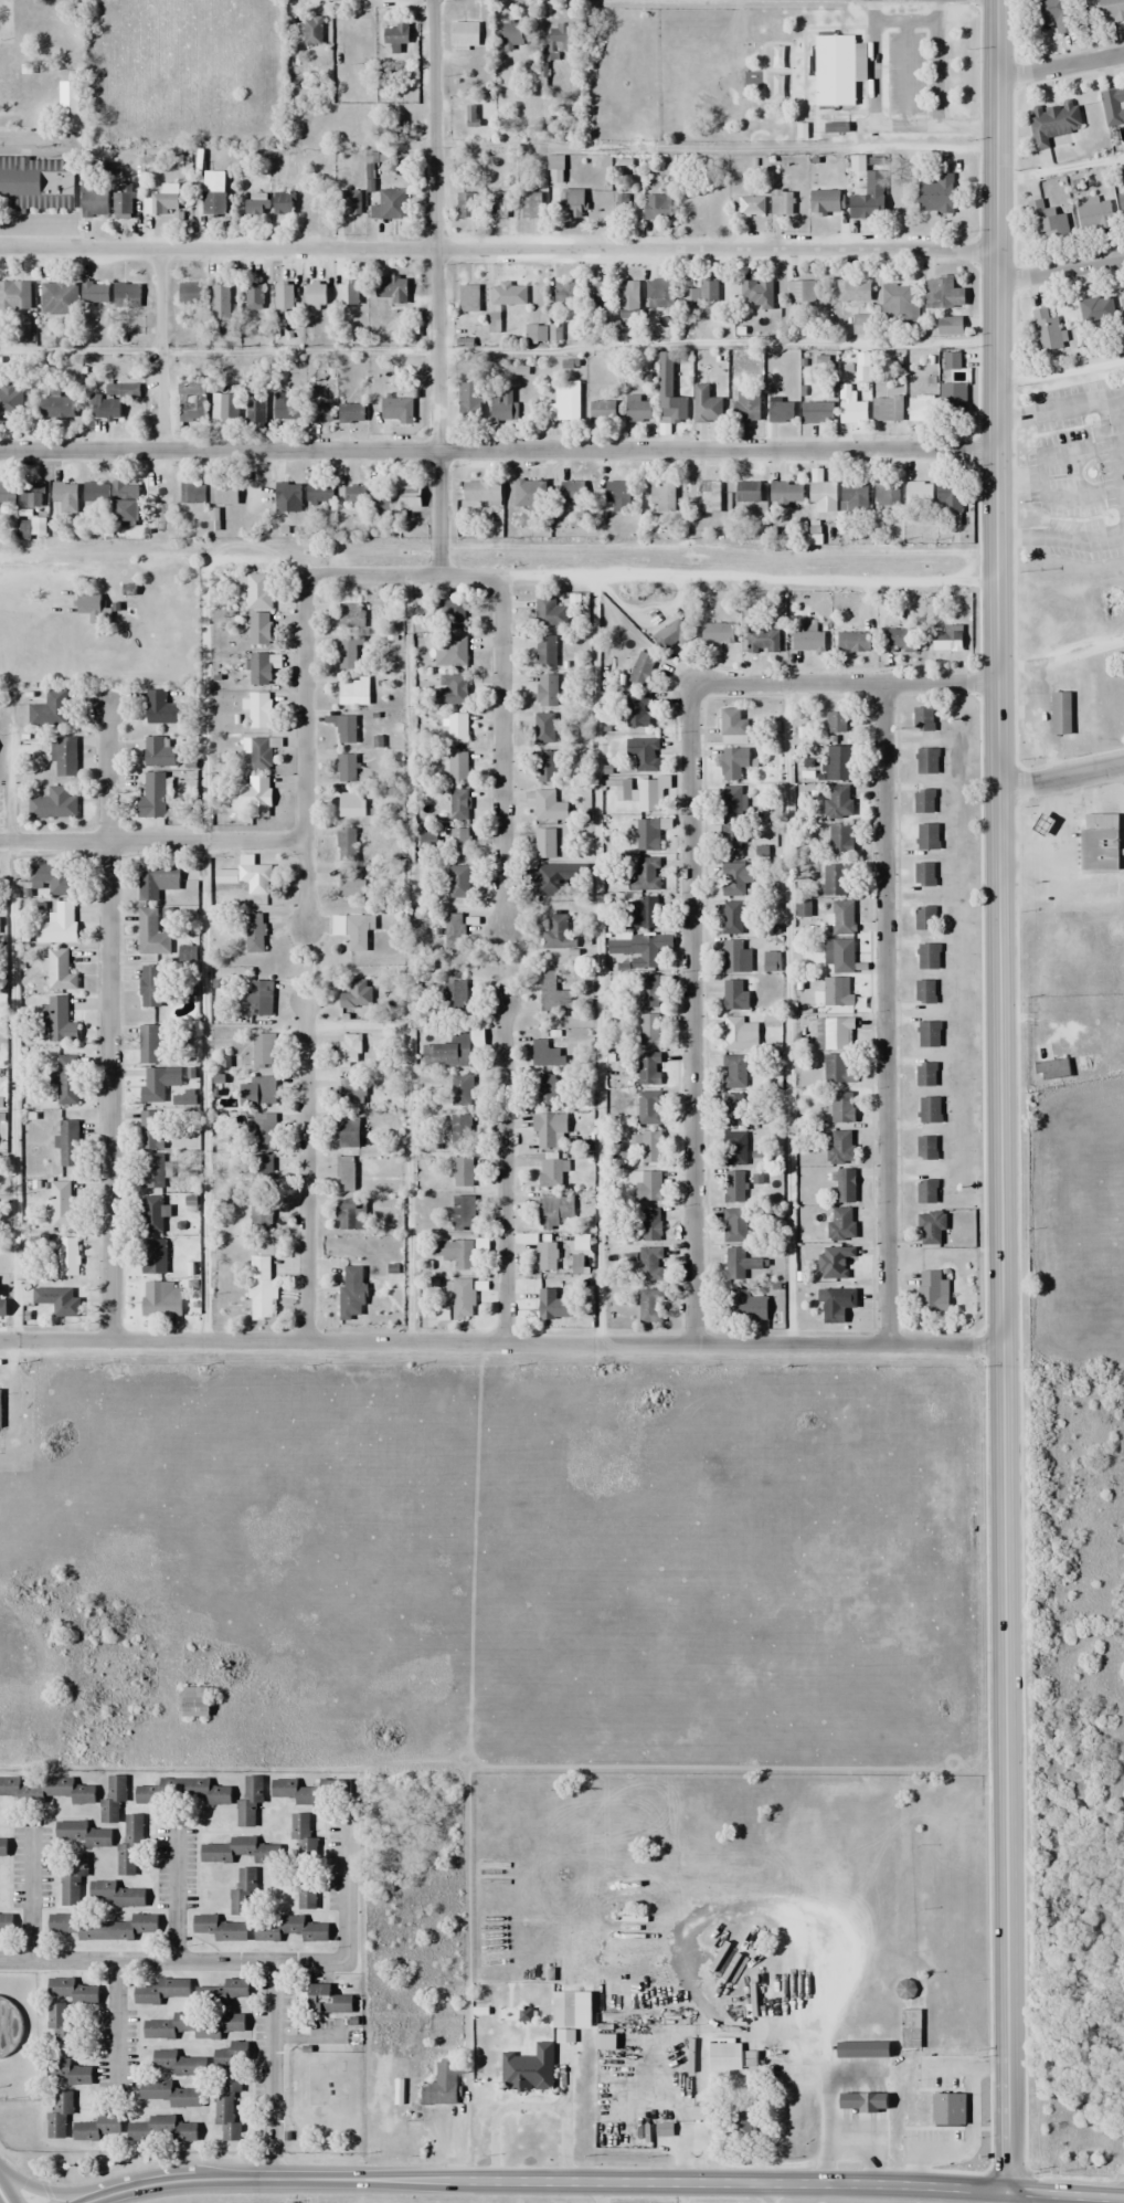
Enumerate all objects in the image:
building: (1110, 11)
building: (1054, 14)
building: (312, 31)
building: (396, 34)
building: (513, 35)
building: (464, 36)
building: (561, 39)
building: (7, 63)
road: (1060, 66)
building: (835, 71)
building: (1123, 87)
building: (1117, 114)
building: (473, 117)
building: (1053, 123)
building: (36, 182)
building: (213, 193)
building: (936, 193)
building: (94, 199)
building: (869, 199)
building: (123, 201)
building: (162, 201)
building: (1121, 201)
building: (284, 202)
building: (781, 202)
building: (351, 203)
building: (572, 203)
building: (257, 204)
building: (390, 204)
building: (498, 204)
building: (531, 204)
building: (466, 205)
building: (690, 205)
building: (622, 207)
building: (749, 207)
building: (657, 208)
building: (1094, 214)
building: (1047, 222)
road: (497, 249)
road: (1059, 271)
road: (435, 287)
building: (392, 289)
building: (702, 292)
building: (853, 292)
building: (95, 293)
building: (191, 293)
building: (348, 293)
building: (800, 293)
building: (564, 294)
building: (659, 294)
building: (757, 294)
building: (943, 294)
building: (316, 295)
building: (508, 295)
building: (14, 296)
building: (127, 296)
building: (254, 296)
building: (596, 297)
building: (59, 298)
building: (468, 298)
building: (628, 299)
building: (221, 301)
building: (284, 303)
building: (897, 305)
building: (1122, 305)
building: (1096, 310)
building: (494, 323)
building: (950, 326)
building: (1048, 331)
building: (555, 333)
building: (536, 334)
road: (161, 350)
building: (952, 361)
building: (669, 392)
building: (192, 402)
building: (565, 402)
road: (1081, 402)
building: (10, 403)
building: (469, 403)
building: (953, 403)
building: (56, 407)
building: (285, 407)
building: (502, 407)
building: (745, 407)
building: (224, 408)
building: (105, 409)
building: (708, 409)
building: (887, 409)
building: (921, 409)
building: (638, 410)
building: (255, 411)
building: (397, 411)
building: (321, 412)
building: (351, 413)
building: (602, 413)
building: (781, 413)
building: (818, 413)
building: (852, 413)
road: (496, 452)
road: (1068, 453)
road: (1059, 491)
building: (481, 492)
building: (573, 492)
building: (65, 493)
building: (96, 493)
building: (320, 493)
building: (747, 493)
building: (823, 493)
building: (919, 493)
building: (8, 494)
building: (192, 494)
building: (530, 494)
building: (786, 494)
building: (32, 495)
building: (224, 495)
building: (352, 495)
building: (619, 495)
building: (887, 495)
building: (662, 496)
building: (411, 497)
building: (708, 497)
building: (288, 498)
building: (855, 498)
building: (380, 500)
building: (951, 502)
building: (125, 504)
road: (1059, 539)
road: (400, 575)
building: (256, 590)
building: (91, 607)
building: (550, 612)
building: (452, 614)
building: (351, 615)
building: (259, 629)
building: (718, 632)
building: (671, 635)
building: (946, 637)
building: (763, 640)
building: (808, 640)
building: (901, 640)
building: (853, 641)
building: (457, 651)
building: (545, 651)
building: (348, 653)
building: (259, 668)
building: (643, 668)
building: (452, 689)
building: (353, 691)
building: (547, 691)
building: (161, 709)
building: (257, 709)
building: (50, 710)
building: (637, 712)
building: (1061, 713)
building: (923, 718)
building: (836, 723)
building: (733, 726)
building: (457, 727)
building: (343, 728)
building: (544, 729)
building: (158, 752)
road: (501, 752)
building: (259, 753)
building: (644, 753)
road: (303, 755)
building: (64, 757)
building: (927, 761)
building: (839, 762)
building: (734, 765)
building: (547, 766)
building: (458, 767)
building: (346, 769)
road: (1060, 776)
building: (626, 784)
building: (648, 795)
building: (152, 797)
building: (252, 797)
building: (839, 801)
building: (924, 801)
building: (733, 802)
building: (53, 803)
building: (351, 805)
building: (458, 805)
building: (549, 807)
building: (648, 835)
building: (927, 836)
building: (840, 839)
road: (151, 840)
building: (733, 841)
building: (1099, 842)
building: (459, 843)
building: (544, 843)
building: (348, 845)
road: (692, 862)
building: (925, 874)
building: (53, 878)
building: (256, 878)
building: (736, 878)
building: (554, 879)
building: (838, 879)
building: (157, 881)
building: (458, 883)
building: (351, 884)
road: (204, 899)
building: (644, 913)
building: (842, 917)
building: (733, 918)
building: (925, 918)
building: (59, 925)
building: (358, 931)
building: (454, 931)
building: (559, 931)
building: (254, 932)
building: (151, 934)
building: (637, 949)
building: (187, 955)
building: (839, 955)
building: (929, 956)
building: (733, 957)
building: (60, 970)
building: (150, 985)
building: (650, 991)
building: (838, 991)
building: (925, 992)
building: (553, 994)
building: (735, 995)
building: (261, 998)
building: (452, 998)
building: (356, 1001)
road: (887, 1013)
building: (59, 1021)
road: (107, 1022)
road: (11, 1026)
building: (649, 1030)
building: (836, 1032)
building: (739, 1034)
building: (929, 1034)
building: (149, 1044)
building: (350, 1050)
building: (264, 1051)
building: (448, 1051)
building: (547, 1054)
building: (649, 1068)
building: (837, 1069)
building: (734, 1072)
building: (925, 1074)
building: (66, 1079)
building: (158, 1083)
building: (459, 1088)
building: (549, 1089)
building: (264, 1090)
building: (352, 1092)
road: (999, 1095)
building: (842, 1107)
building: (649, 1108)
building: (733, 1109)
building: (930, 1110)
building: (548, 1129)
building: (150, 1130)
building: (348, 1131)
building: (460, 1131)
building: (261, 1132)
building: (65, 1145)
building: (651, 1147)
building: (734, 1148)
building: (840, 1148)
building: (926, 1148)
building: (151, 1171)
building: (262, 1171)
road: (305, 1171)
building: (464, 1172)
road: (505, 1173)
building: (550, 1173)
building: (346, 1174)
building: (646, 1184)
building: (846, 1185)
building: (734, 1188)
building: (927, 1192)
building: (61, 1204)
building: (553, 1211)
building: (464, 1213)
building: (151, 1214)
building: (351, 1214)
building: (261, 1215)
building: (842, 1223)
building: (651, 1225)
building: (734, 1225)
building: (931, 1227)
building: (456, 1253)
building: (153, 1256)
building: (547, 1256)
building: (67, 1257)
building: (835, 1262)
building: (650, 1264)
building: (743, 1265)
building: (261, 1288)
building: (933, 1292)
building: (352, 1295)
building: (161, 1298)
building: (463, 1299)
building: (57, 1300)
building: (836, 1304)
building: (552, 1306)
building: (650, 1306)
building: (746, 1306)
road: (500, 1342)
building: (0, 1409)
building: (195, 1701)
building: (45, 1790)
building: (308, 1790)
building: (184, 1791)
building: (113, 1799)
building: (250, 1801)
building: (83, 1833)
building: (304, 1838)
building: (129, 1845)
building: (3, 1848)
building: (240, 1851)
building: (72, 1877)
building: (242, 1891)
road: (34, 1894)
building: (117, 1894)
building: (307, 1895)
road: (177, 1899)
building: (6, 1926)
building: (105, 1927)
building: (220, 1928)
building: (288, 1929)
road: (243, 1962)
building: (905, 1990)
building: (73, 1991)
building: (161, 1991)
building: (221, 1993)
building: (327, 2001)
road: (118, 2020)
building: (60, 2025)
building: (194, 2026)
building: (911, 2030)
road: (729, 2031)
building: (606, 2043)
building: (861, 2049)
building: (230, 2056)
building: (725, 2058)
building: (178, 2064)
building: (529, 2069)
road: (272, 2070)
building: (67, 2073)
building: (441, 2085)
building: (318, 2087)
building: (170, 2094)
building: (937, 2094)
building: (862, 2102)
building: (226, 2107)
road: (533, 2107)
building: (703, 2114)
building: (59, 2115)
building: (97, 2127)
building: (743, 2127)
building: (161, 2130)
road: (869, 2152)
road: (545, 2181)
road: (53, 2188)
road: (1065, 2195)
road: (3, 2196)

